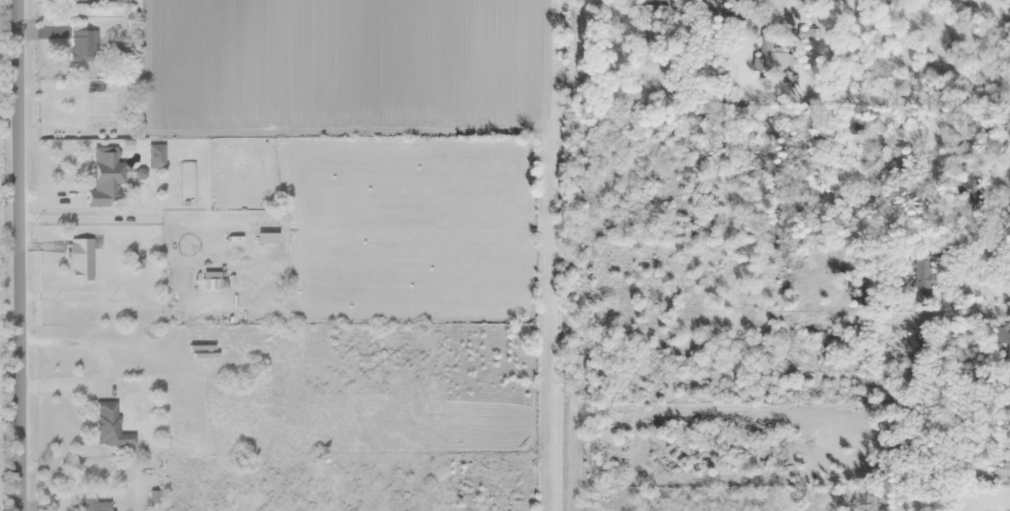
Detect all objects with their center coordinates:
building: (97, 0)
building: (82, 45)
building: (857, 127)
building: (104, 175)
road: (20, 255)
building: (243, 255)
building: (80, 259)
building: (172, 259)
building: (921, 278)
building: (209, 281)
building: (247, 282)
building: (912, 368)
building: (109, 426)
building: (94, 505)

